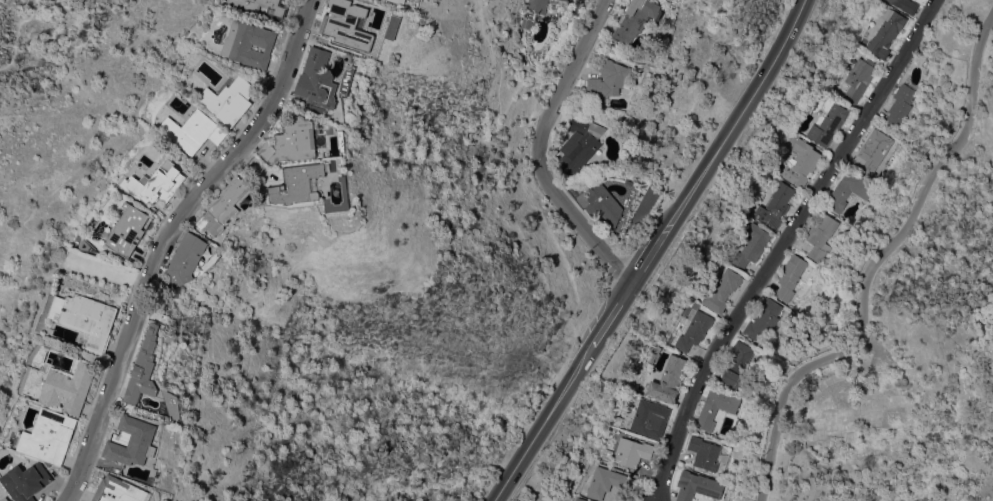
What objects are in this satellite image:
building: (564, 0)
building: (398, 1)
building: (905, 5)
building: (276, 10)
building: (532, 13)
building: (635, 19)
building: (345, 23)
building: (886, 32)
building: (249, 44)
road: (26, 49)
building: (610, 78)
building: (859, 78)
building: (318, 79)
building: (229, 99)
building: (901, 103)
building: (828, 124)
building: (193, 131)
building: (293, 141)
building: (580, 144)
road: (538, 150)
building: (873, 150)
building: (801, 163)
building: (156, 183)
building: (299, 183)
building: (848, 190)
building: (602, 203)
building: (775, 206)
building: (223, 207)
building: (127, 229)
road: (169, 236)
building: (821, 236)
road: (783, 244)
building: (752, 245)
road: (653, 251)
building: (186, 259)
road: (871, 264)
building: (790, 276)
building: (722, 290)
building: (86, 318)
building: (763, 320)
building: (703, 326)
building: (143, 368)
building: (738, 368)
building: (668, 379)
building: (68, 387)
building: (715, 407)
building: (650, 418)
building: (48, 436)
building: (132, 442)
building: (631, 450)
building: (703, 452)
building: (25, 481)
building: (607, 482)
building: (697, 486)
building: (118, 490)
building: (4, 499)
building: (579, 499)
building: (9, 500)

